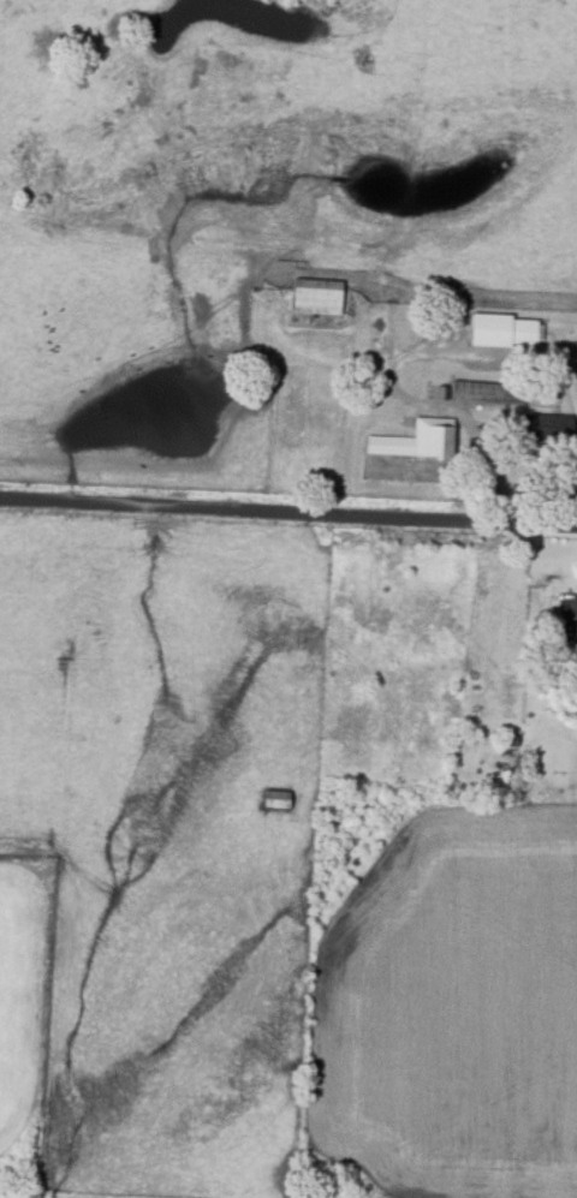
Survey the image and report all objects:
building: (316, 296)
building: (504, 329)
building: (483, 392)
road: (426, 404)
building: (547, 425)
building: (416, 440)
road: (570, 473)
road: (563, 502)
road: (288, 505)
road: (573, 615)
building: (508, 745)
crop: (23, 994)
crop: (448, 1009)

